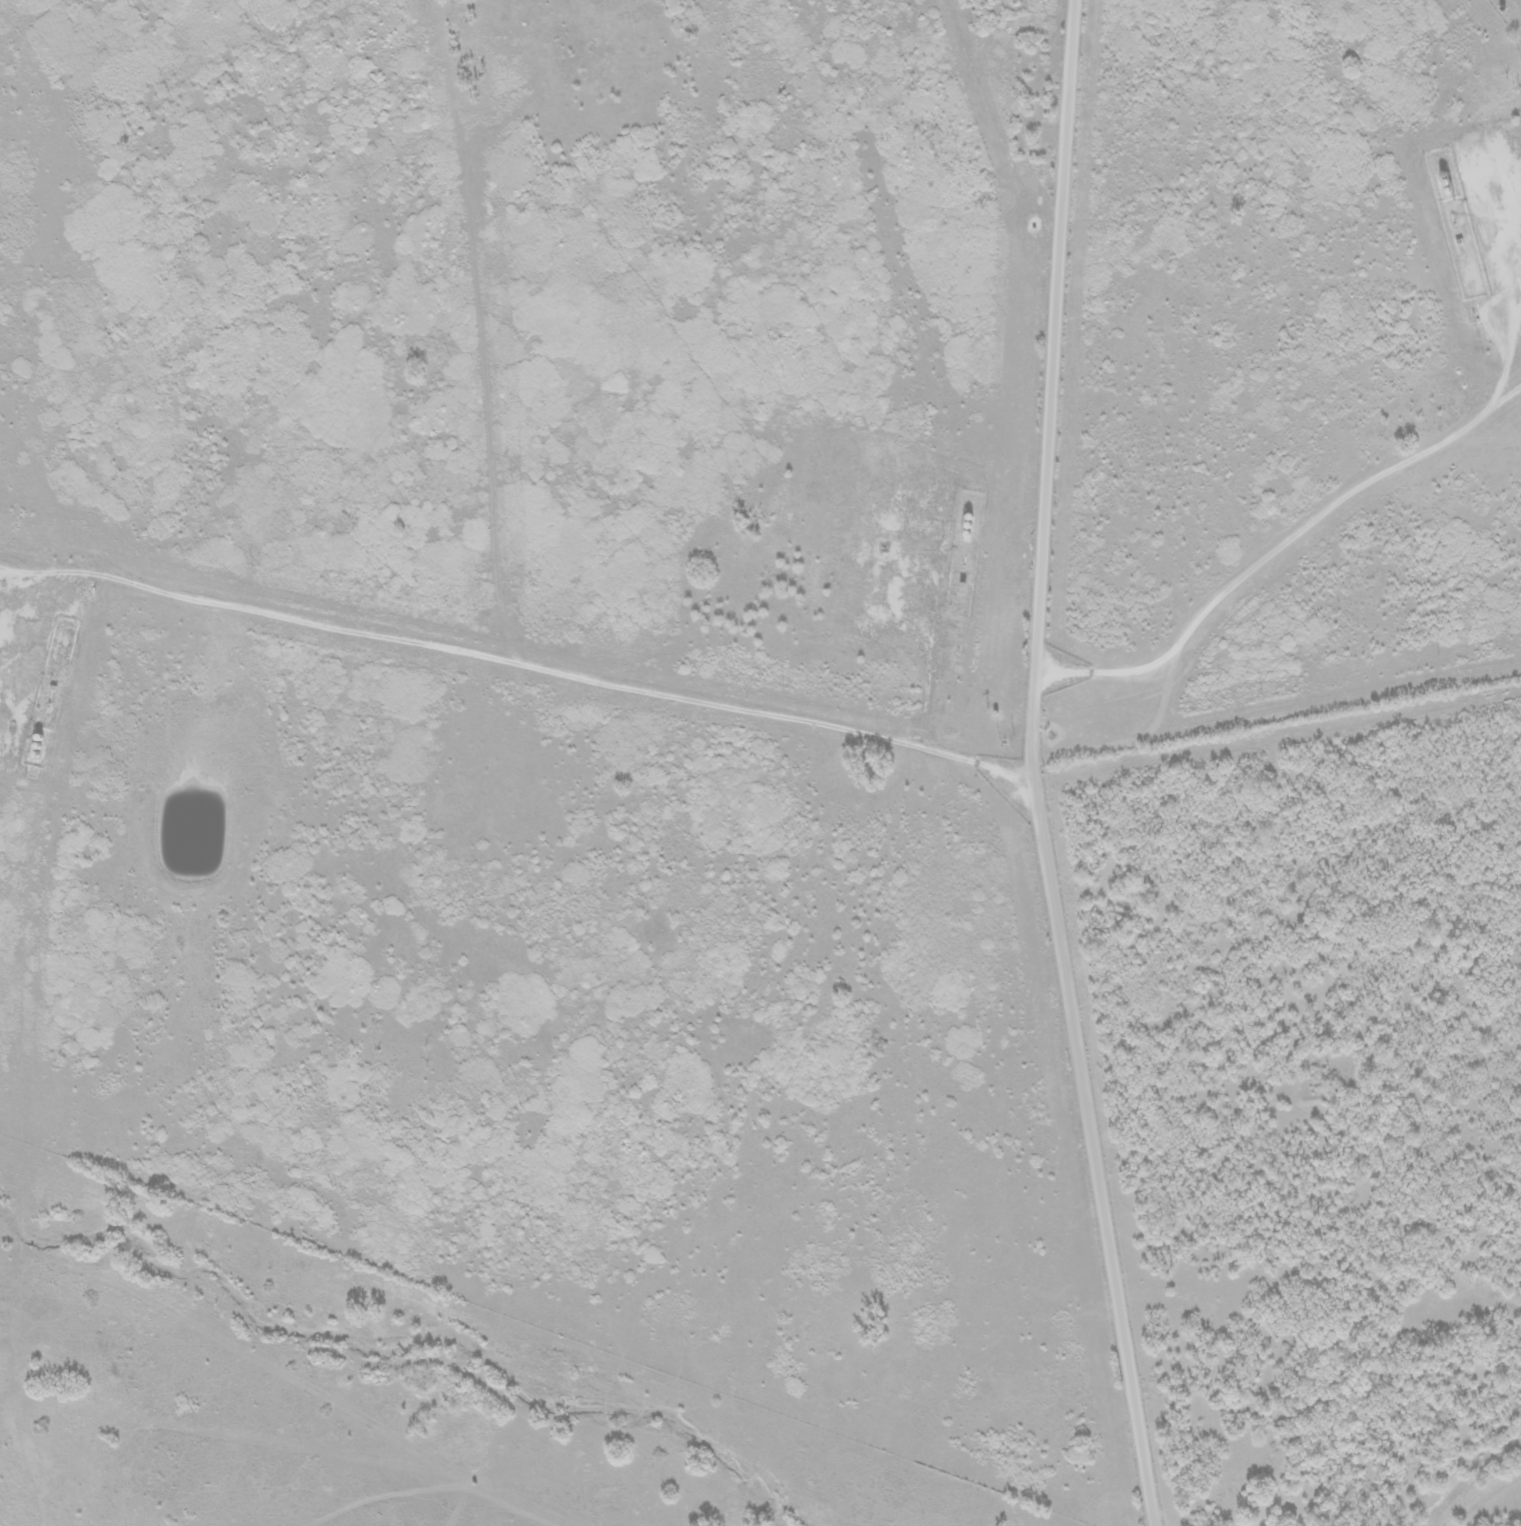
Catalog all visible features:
road: (1038, 767)

